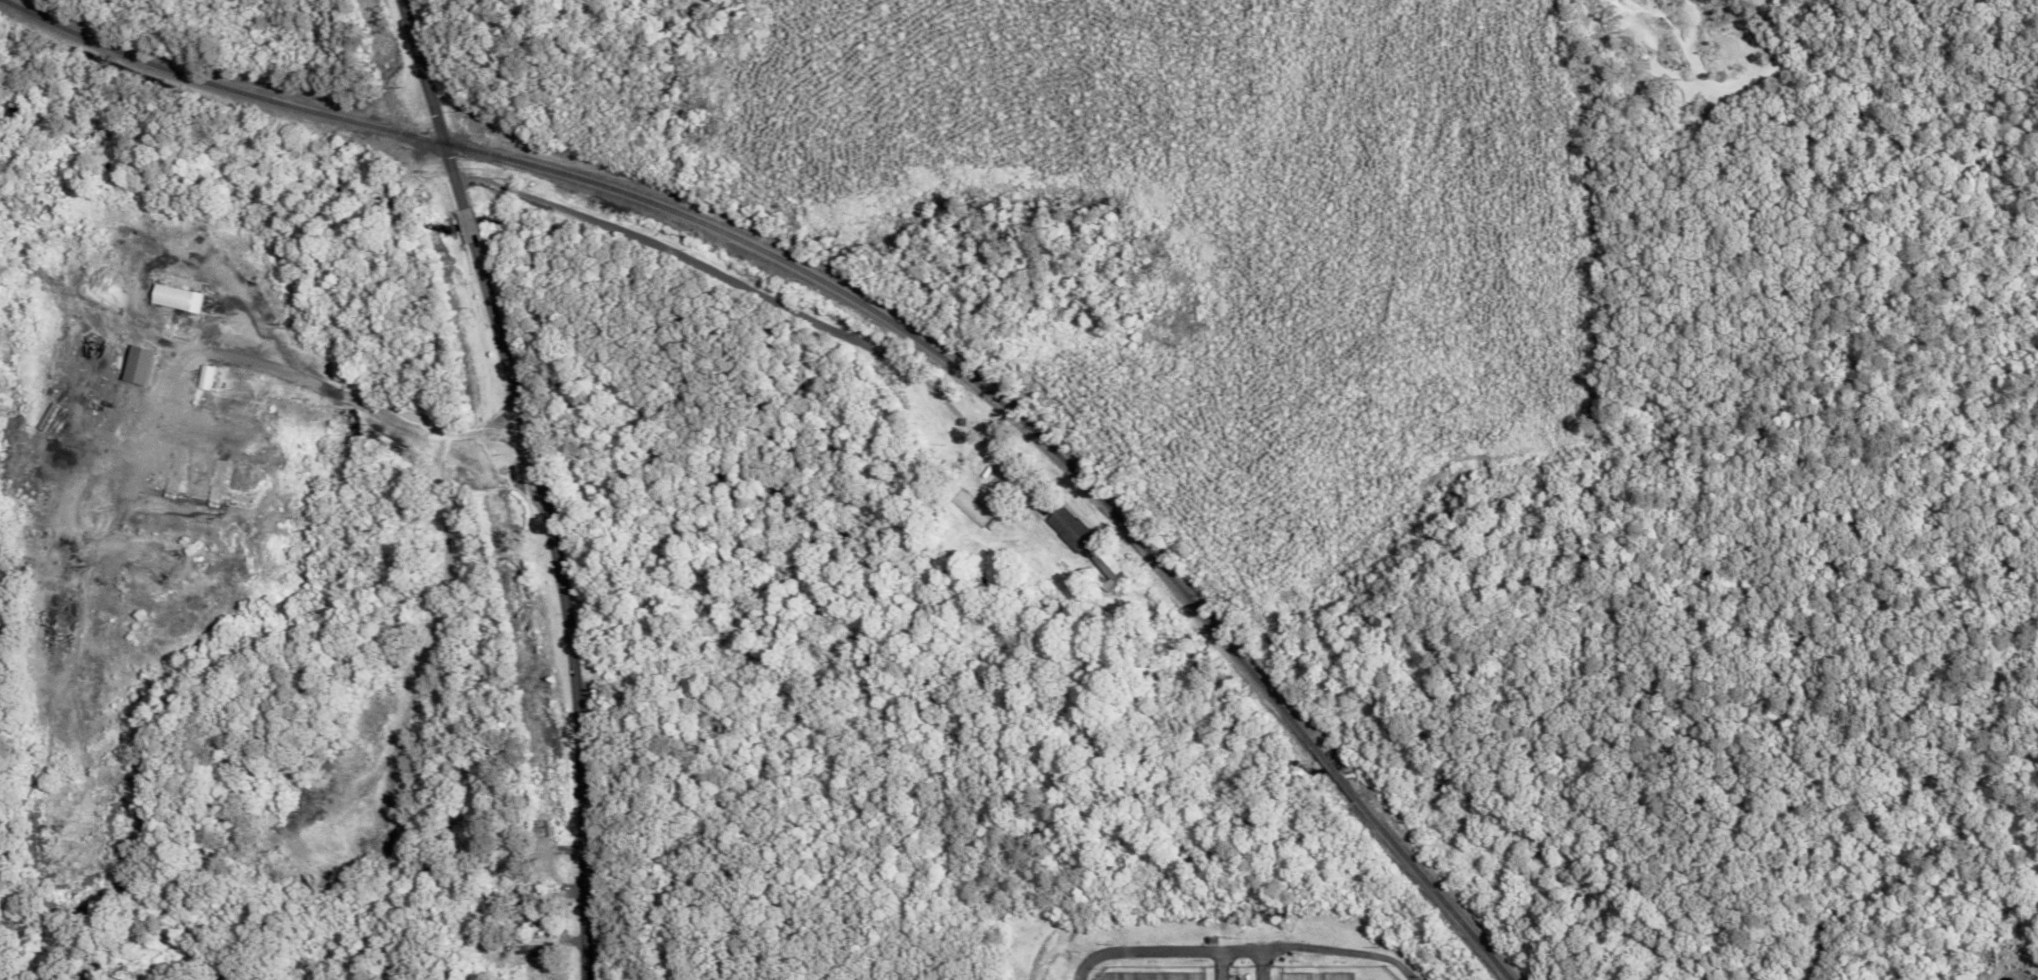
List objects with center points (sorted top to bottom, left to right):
road: (432, 103)
road: (466, 226)
road: (760, 293)
building: (173, 298)
railway: (874, 311)
building: (133, 365)
building: (203, 377)
road: (419, 437)
building: (1068, 528)
building: (1105, 563)
road: (565, 606)
road: (1242, 948)
building: (528, 949)

